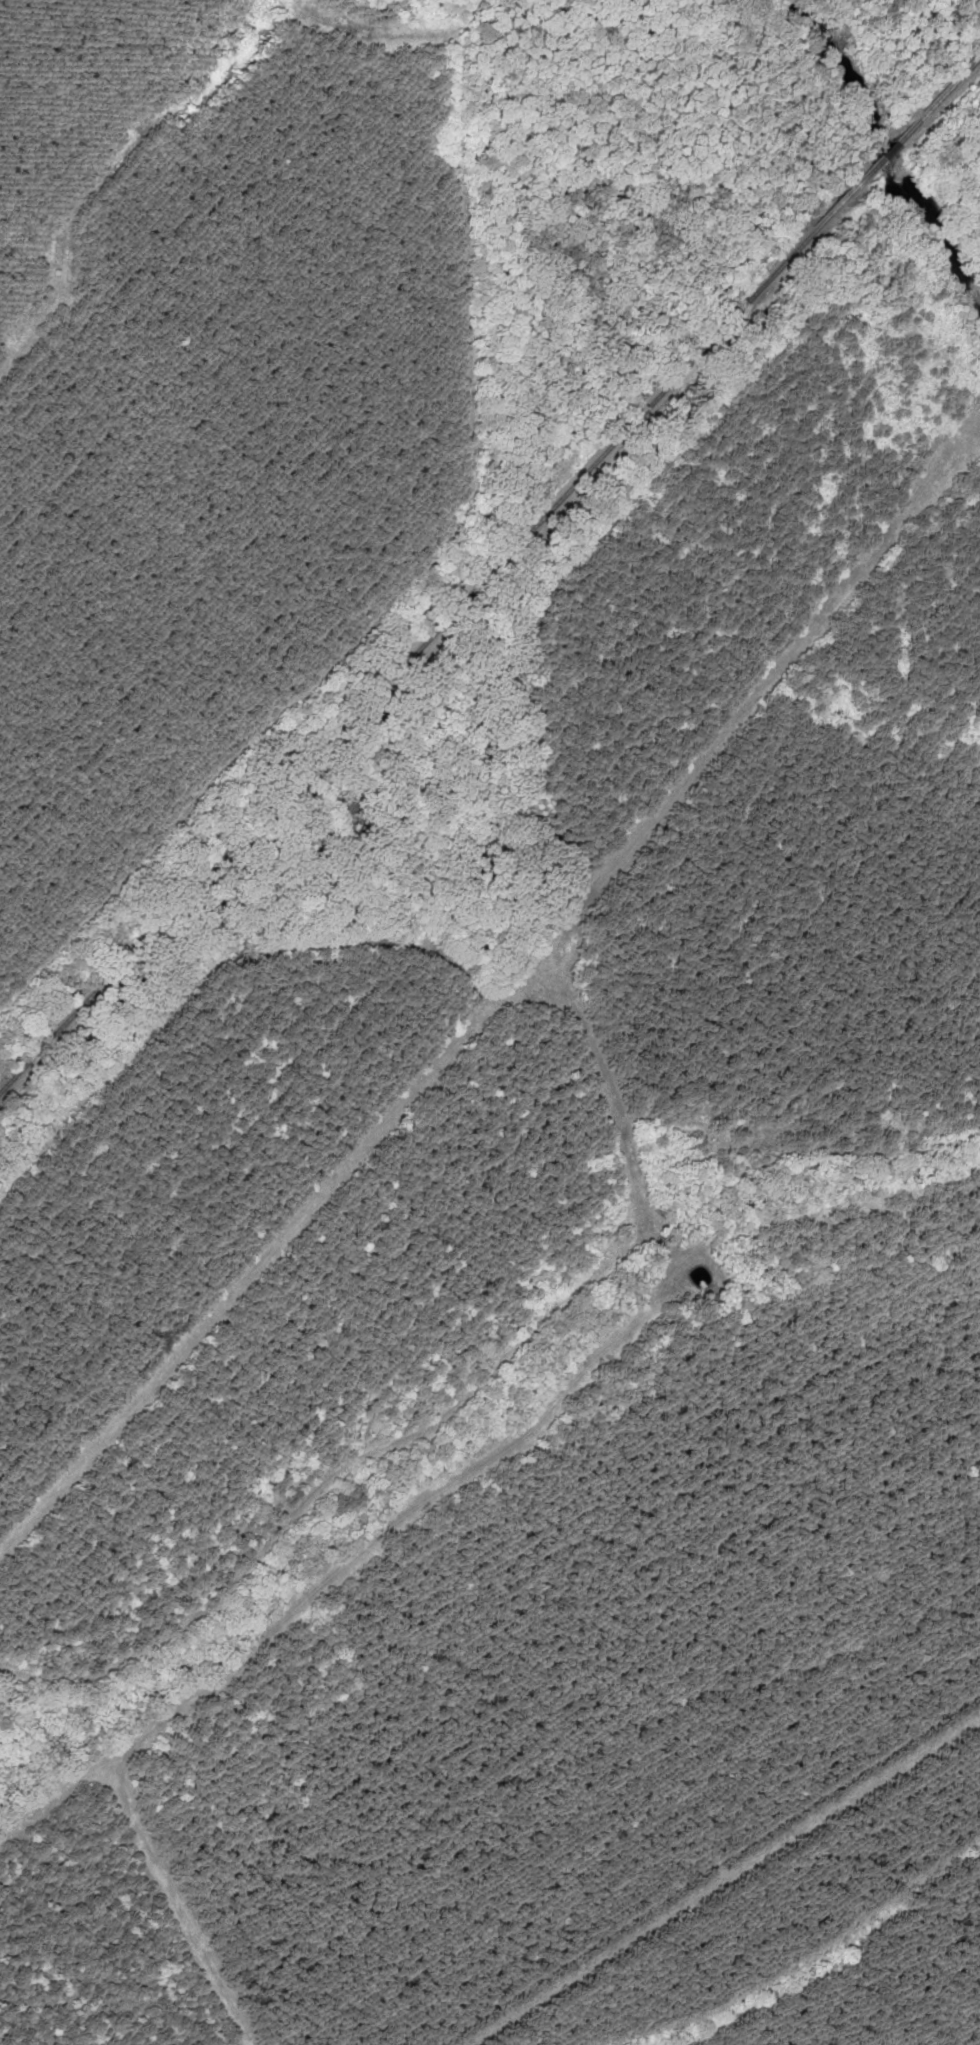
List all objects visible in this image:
railway: (489, 556)

